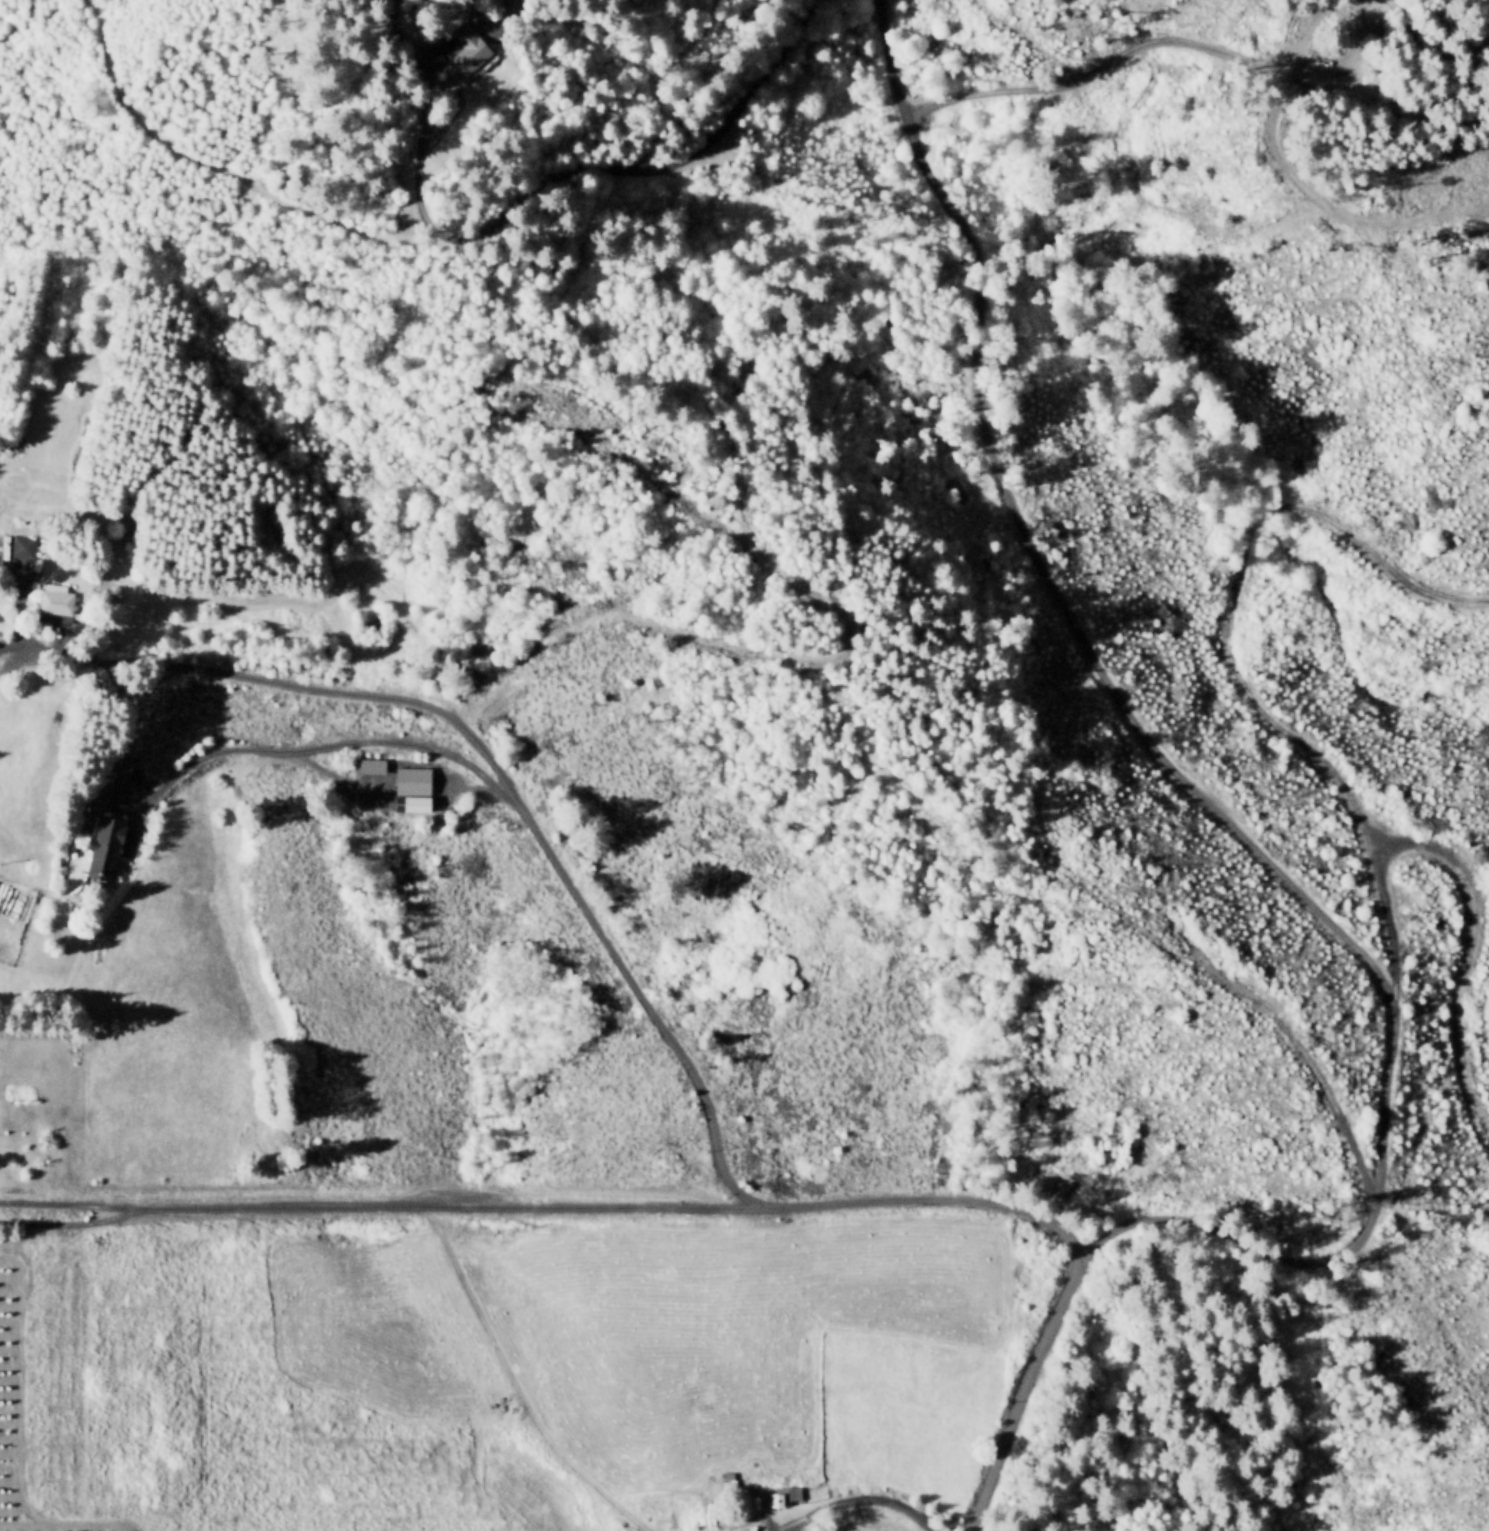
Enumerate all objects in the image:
road: (391, 0)
building: (518, 7)
road: (1181, 40)
road: (1046, 49)
building: (473, 51)
road: (662, 79)
road: (227, 170)
road: (538, 186)
road: (291, 410)
building: (26, 546)
building: (61, 602)
road: (659, 620)
road: (429, 641)
road: (60, 652)
road: (1237, 655)
road: (140, 744)
road: (314, 746)
building: (376, 766)
building: (417, 780)
road: (1188, 784)
road: (392, 797)
building: (358, 801)
building: (409, 803)
road: (542, 837)
building: (110, 846)
road: (1466, 952)
road: (1302, 1055)
road: (933, 1197)
road: (74, 1204)
road: (384, 1206)
road: (516, 1384)
road: (1025, 1392)
building: (777, 1491)
road: (862, 1499)

